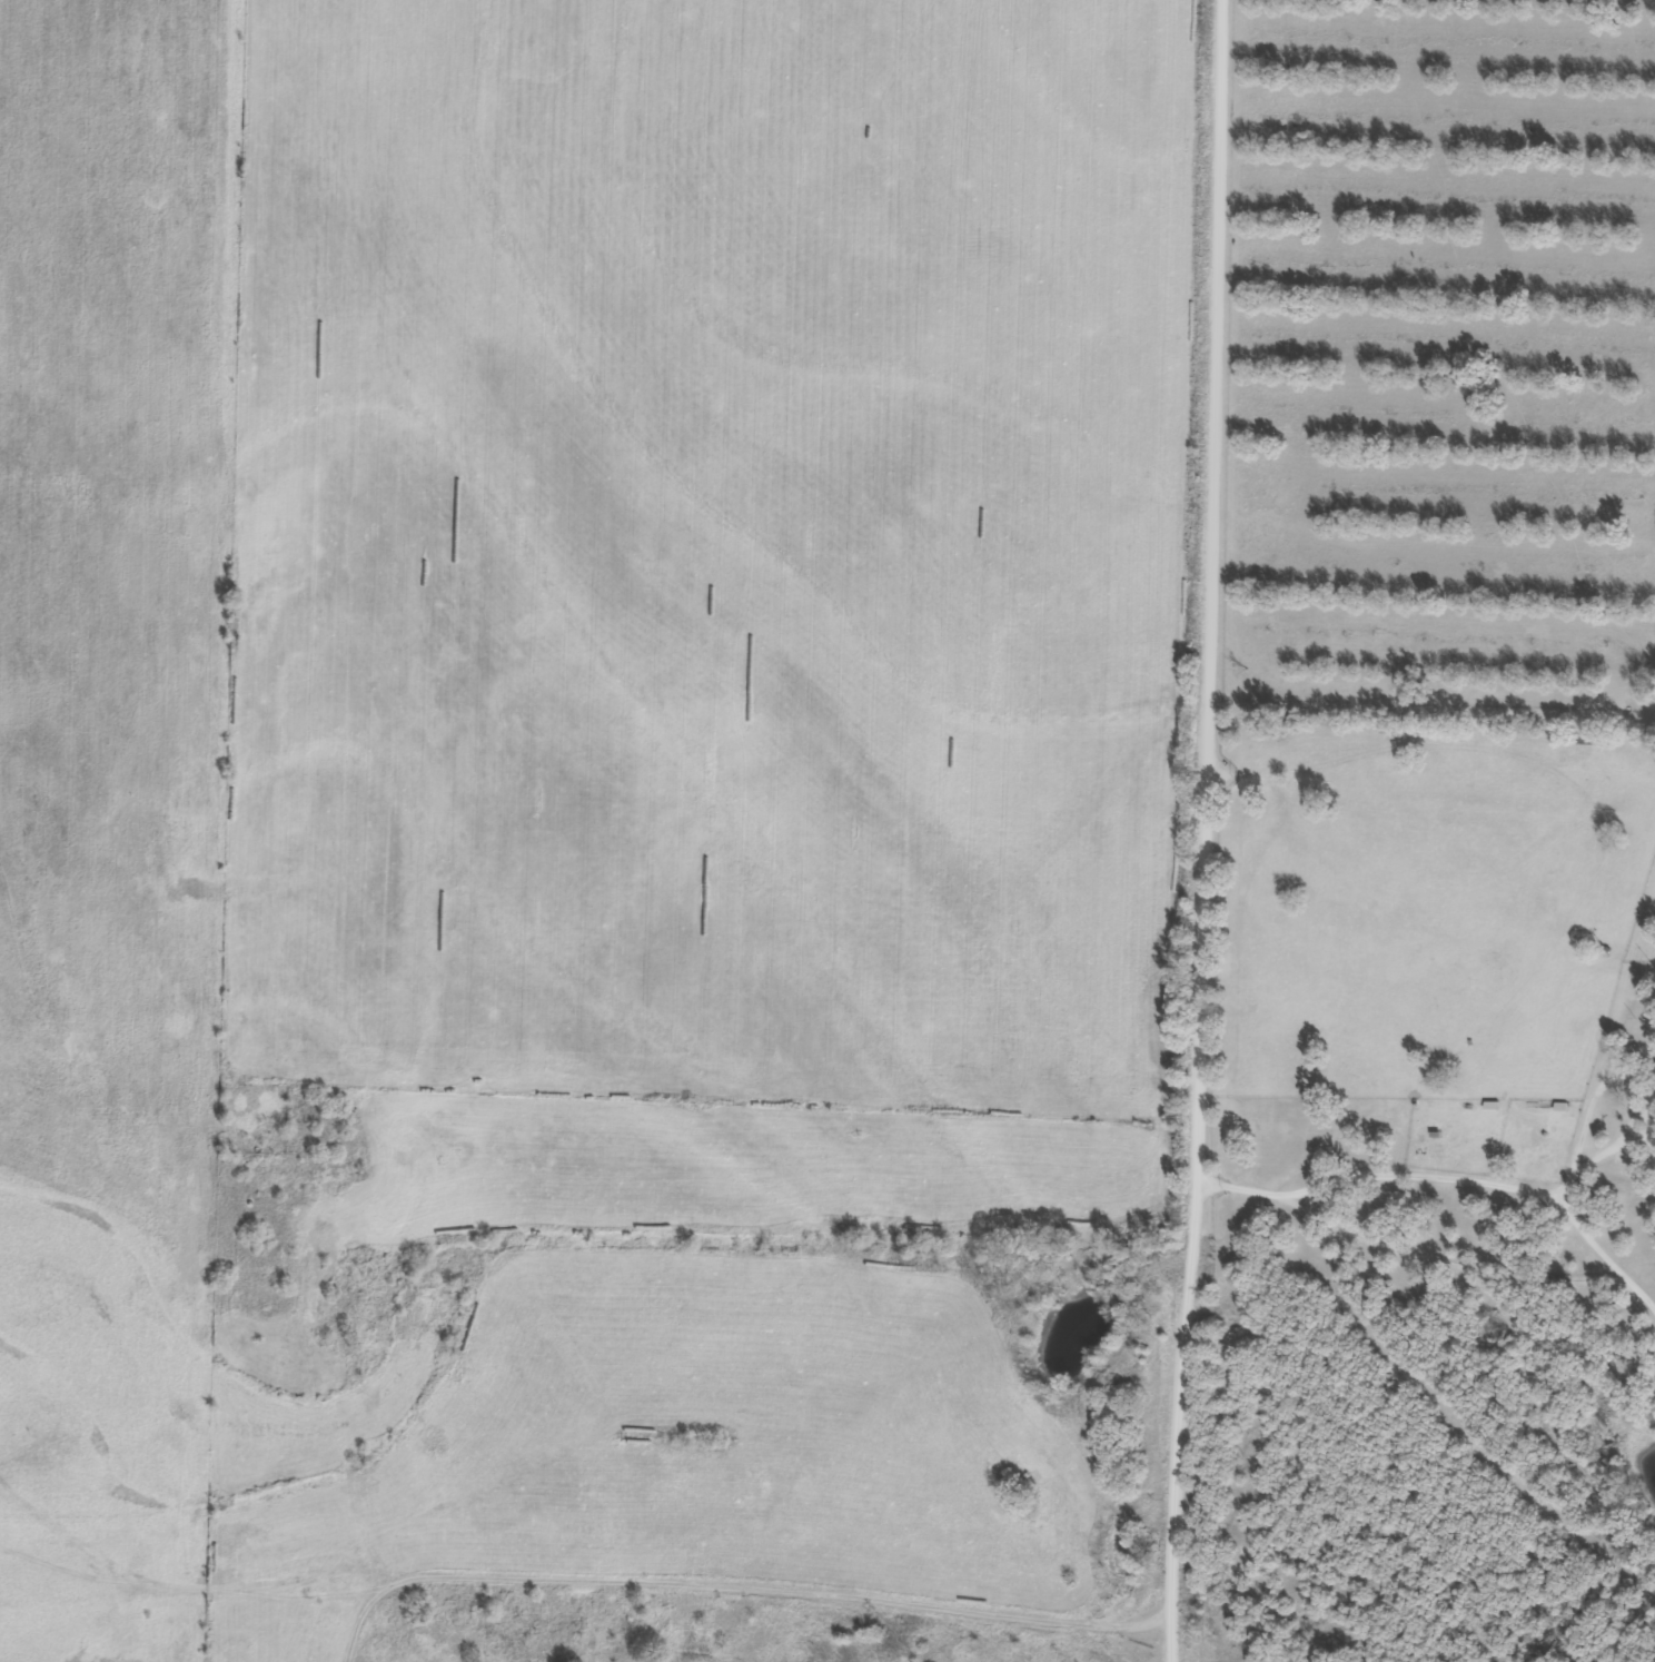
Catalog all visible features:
road: (1189, 824)
road: (585, 1622)
road: (1170, 1655)

